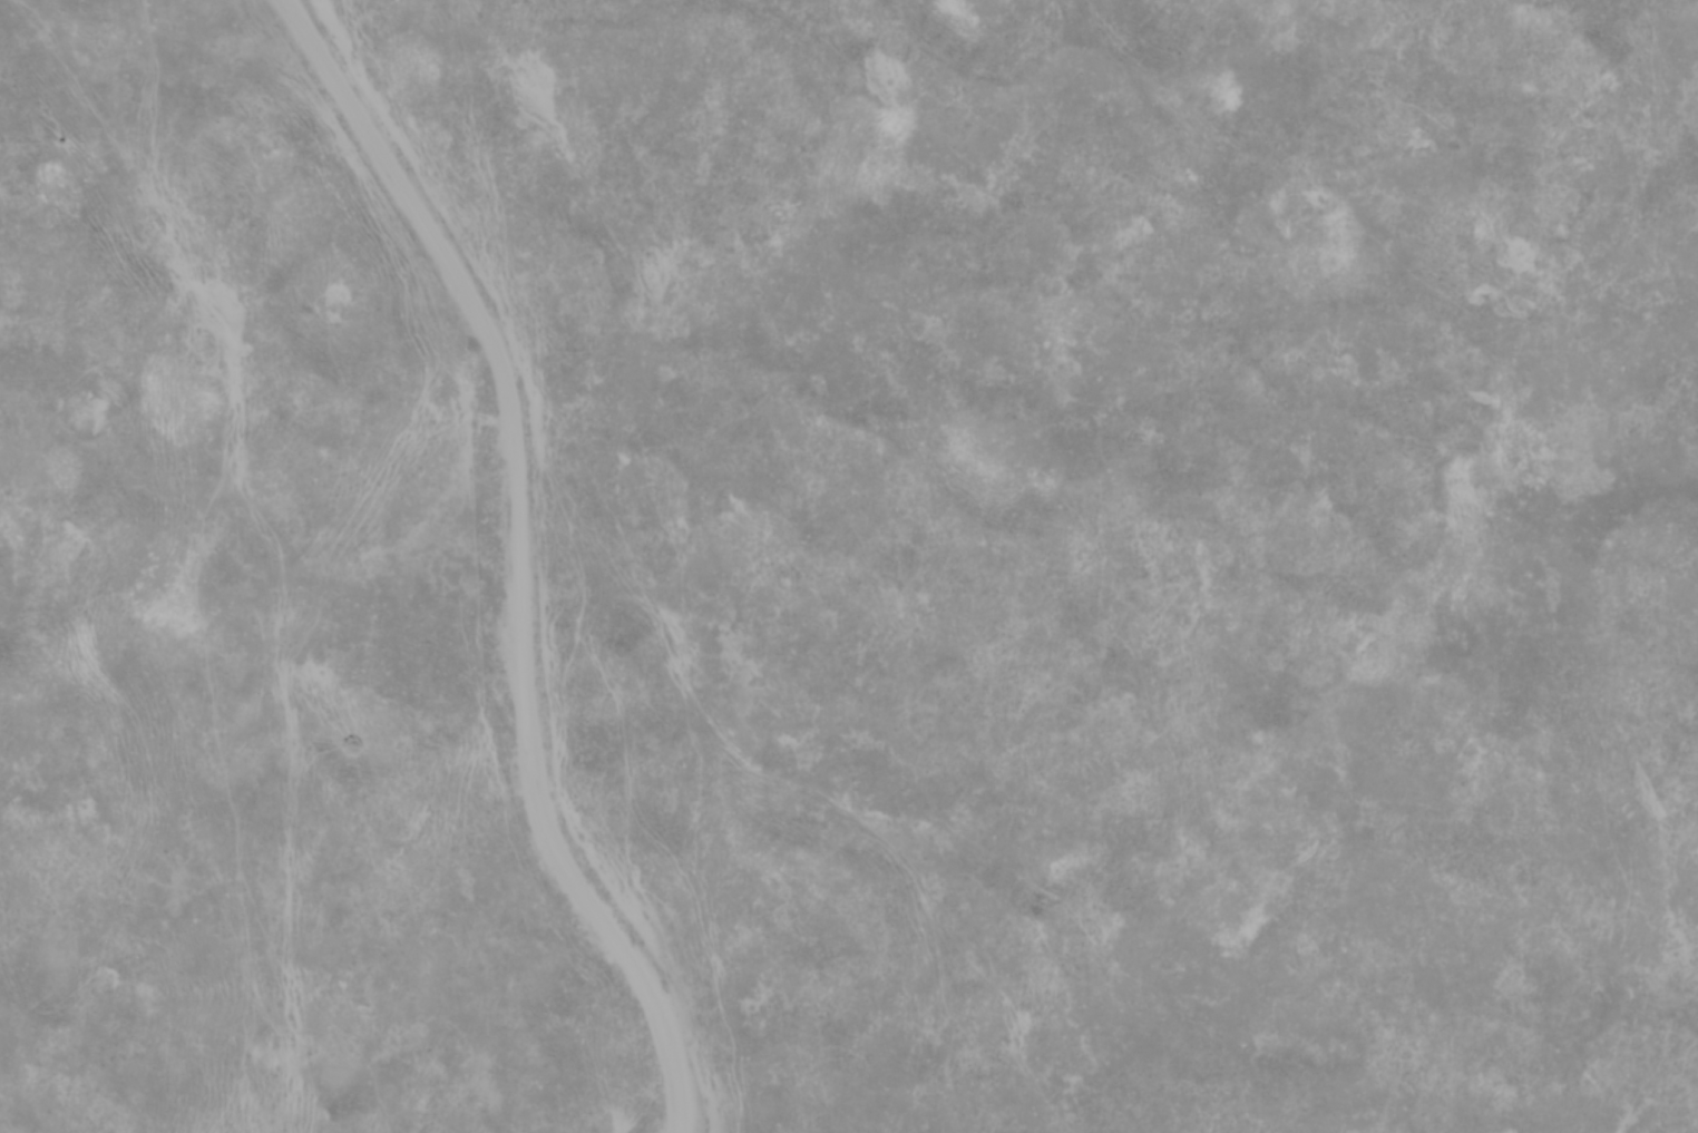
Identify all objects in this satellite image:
road: (517, 555)

